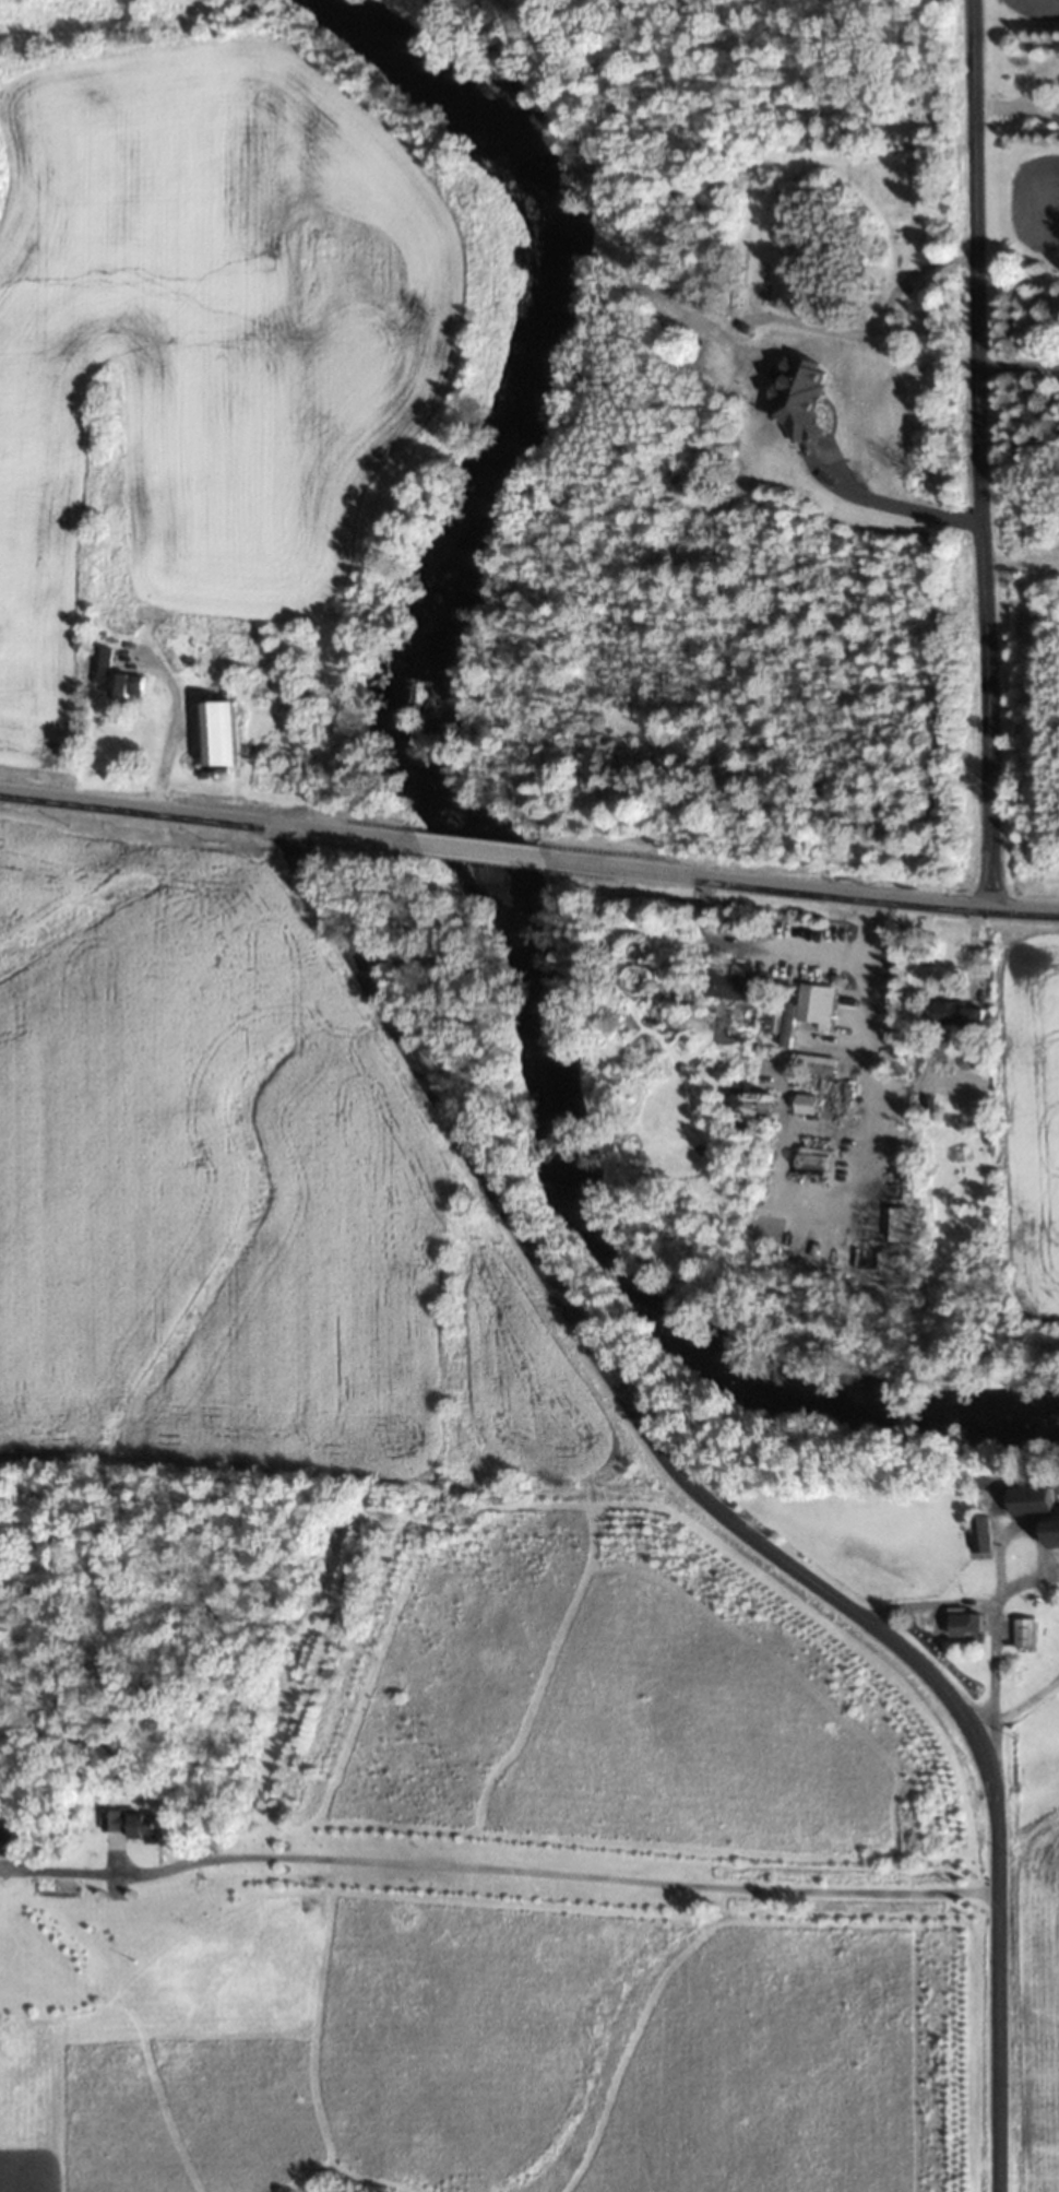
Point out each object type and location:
road: (980, 455)
road: (1021, 562)
building: (96, 663)
building: (126, 684)
building: (215, 732)
road: (207, 820)
river: (471, 825)
road: (479, 849)
road: (799, 891)
building: (727, 985)
building: (808, 1002)
building: (953, 1015)
building: (812, 1063)
building: (733, 1103)
building: (1027, 1500)
road: (715, 1507)
building: (1048, 1532)
building: (978, 1534)
road: (1028, 1581)
road: (1002, 1605)
building: (963, 1623)
building: (1023, 1631)
road: (1028, 1702)
building: (130, 1825)
building: (4, 1839)

